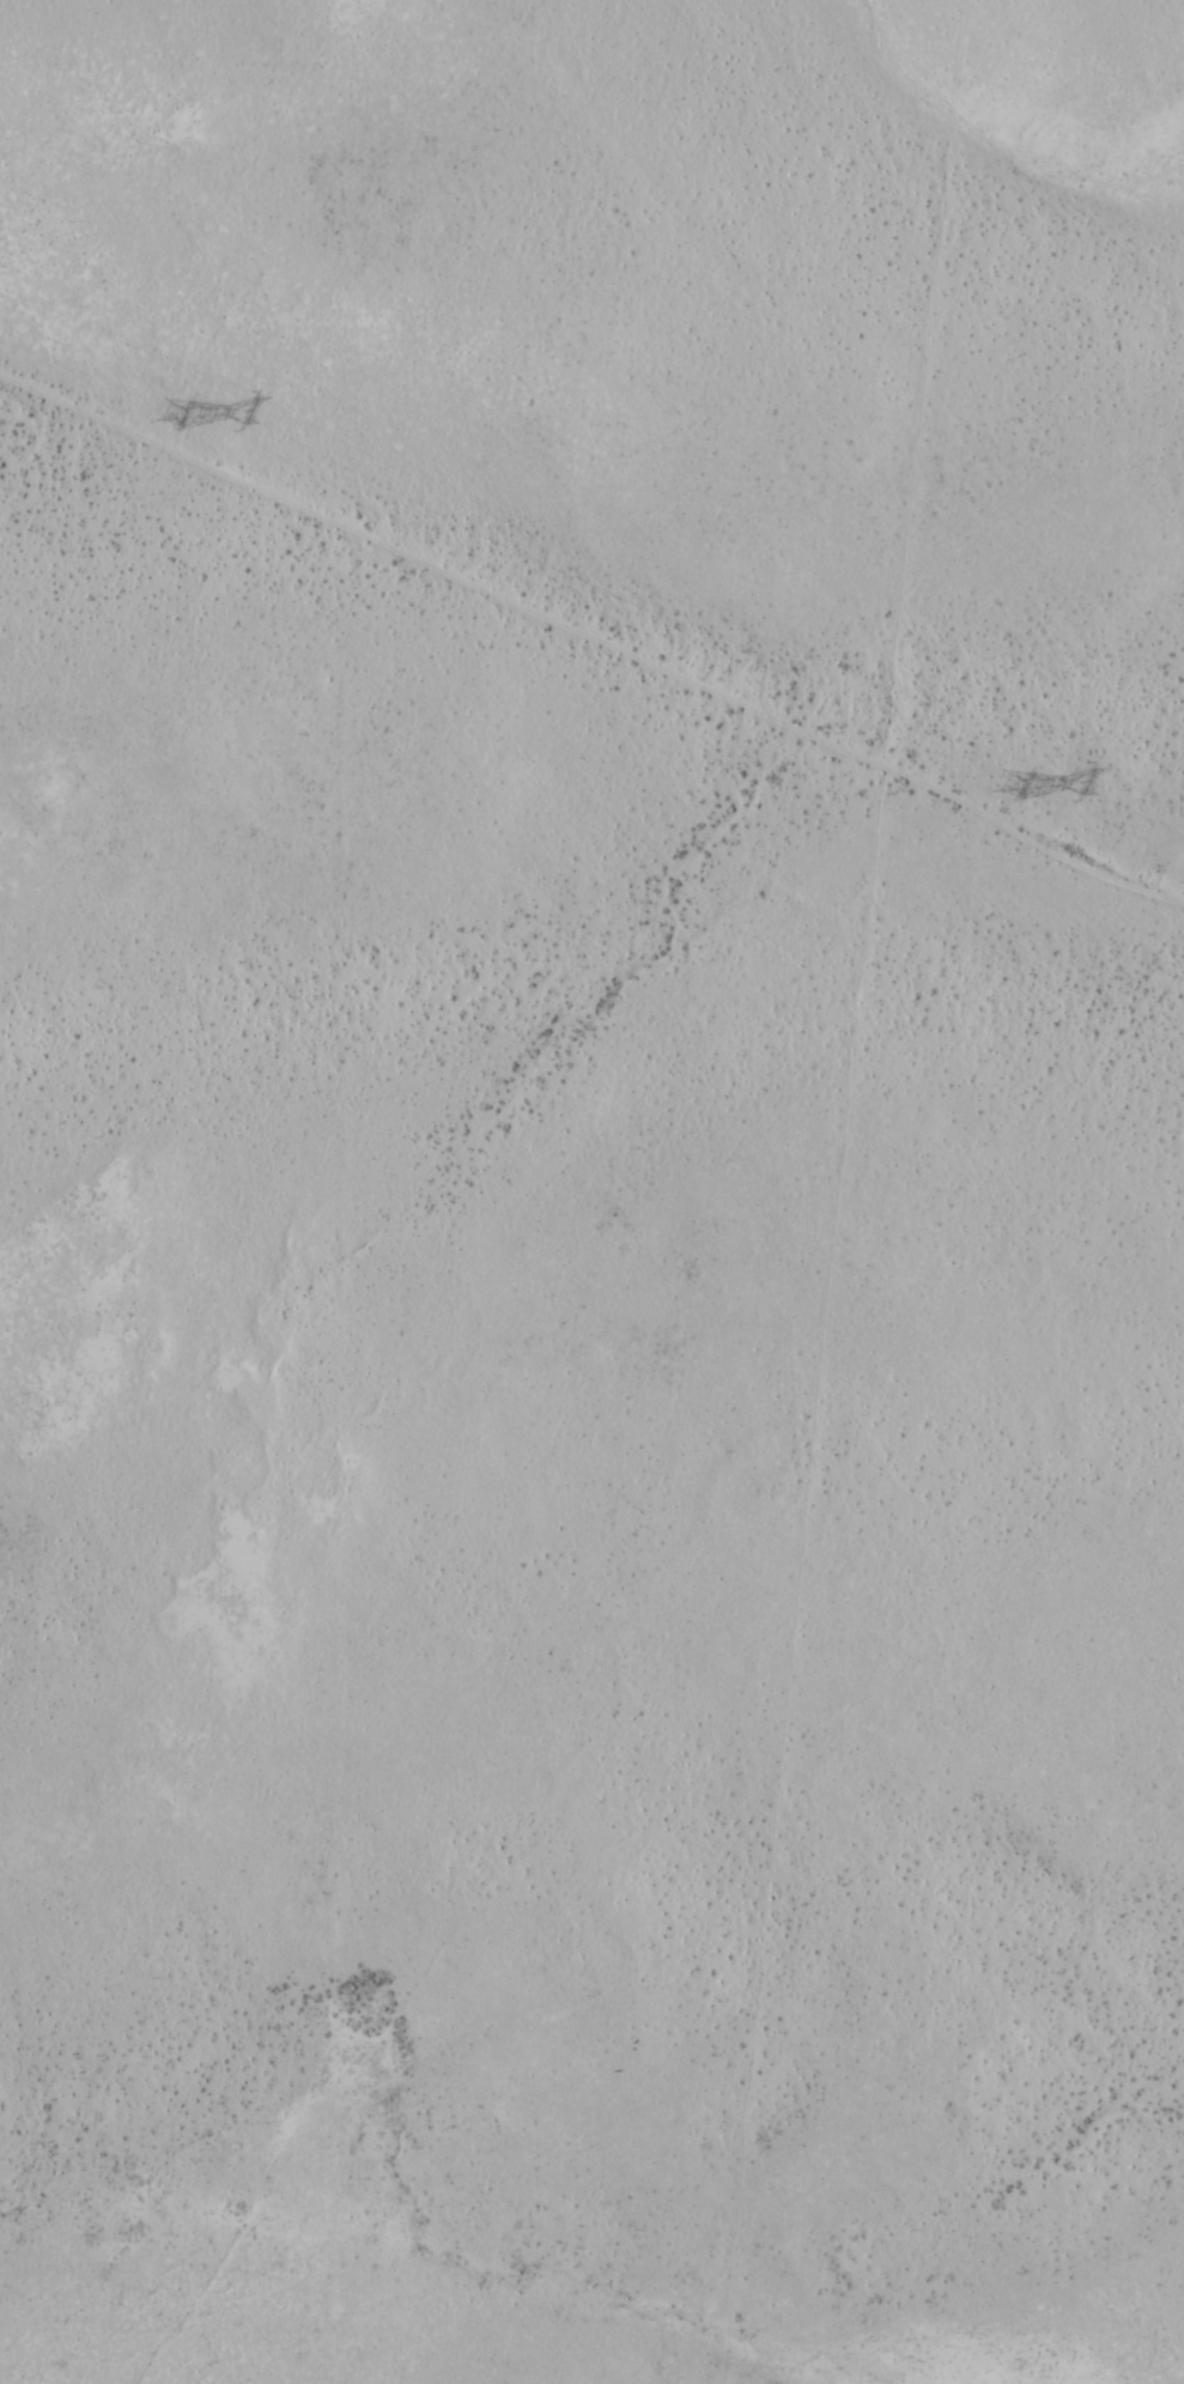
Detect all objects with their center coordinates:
power tower: (165, 406)
power tower: (1007, 783)

